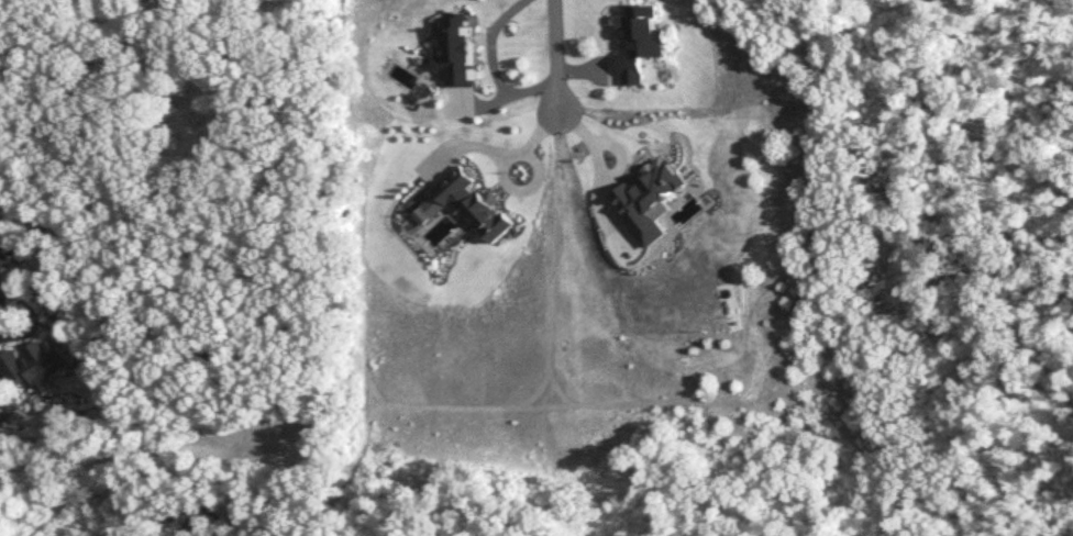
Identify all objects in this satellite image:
road: (555, 59)
road: (493, 66)
road: (496, 152)
road: (601, 177)
road: (8, 303)
building: (31, 367)
park: (32, 525)

